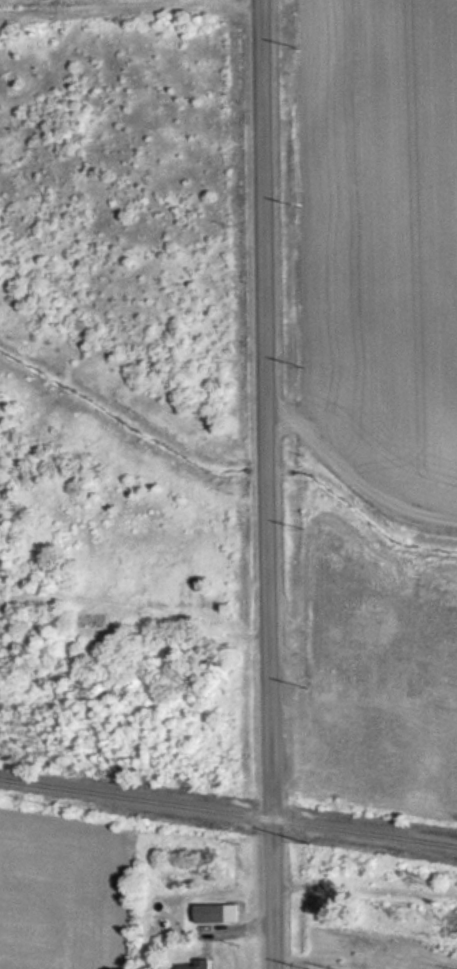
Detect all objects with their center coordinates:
road: (266, 484)
railway: (228, 814)
building: (213, 913)
building: (195, 967)

